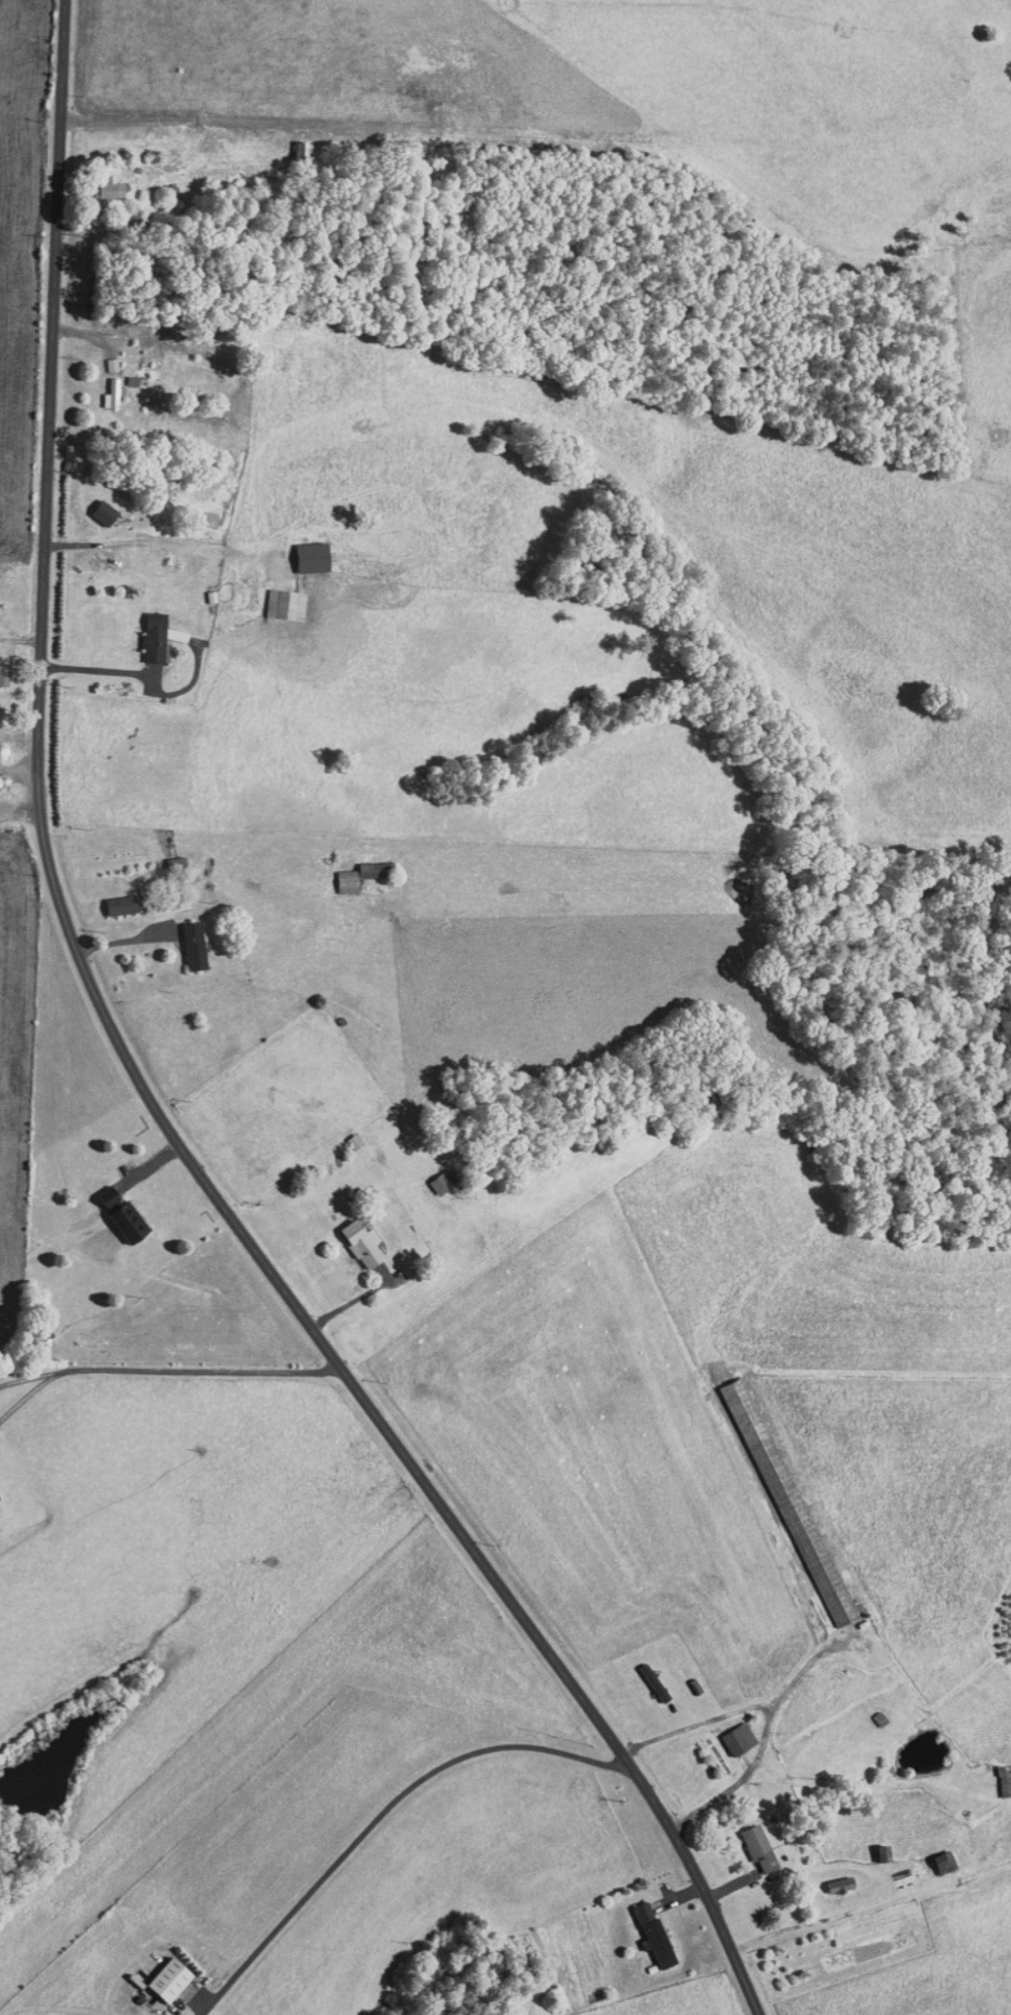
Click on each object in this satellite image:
building: (100, 181)
building: (101, 358)
building: (125, 374)
building: (101, 388)
building: (94, 506)
building: (302, 550)
building: (275, 597)
building: (144, 630)
road: (97, 669)
building: (165, 857)
building: (362, 863)
building: (337, 875)
building: (111, 898)
building: (183, 939)
road: (147, 1088)
building: (344, 1135)
building: (430, 1177)
building: (111, 1207)
building: (352, 1237)
road: (166, 1364)
road: (20, 1384)
building: (728, 1733)
building: (999, 1776)
road: (380, 1811)
building: (748, 1841)
building: (874, 1848)
building: (934, 1856)
building: (831, 1879)
building: (643, 1929)
building: (159, 1972)

